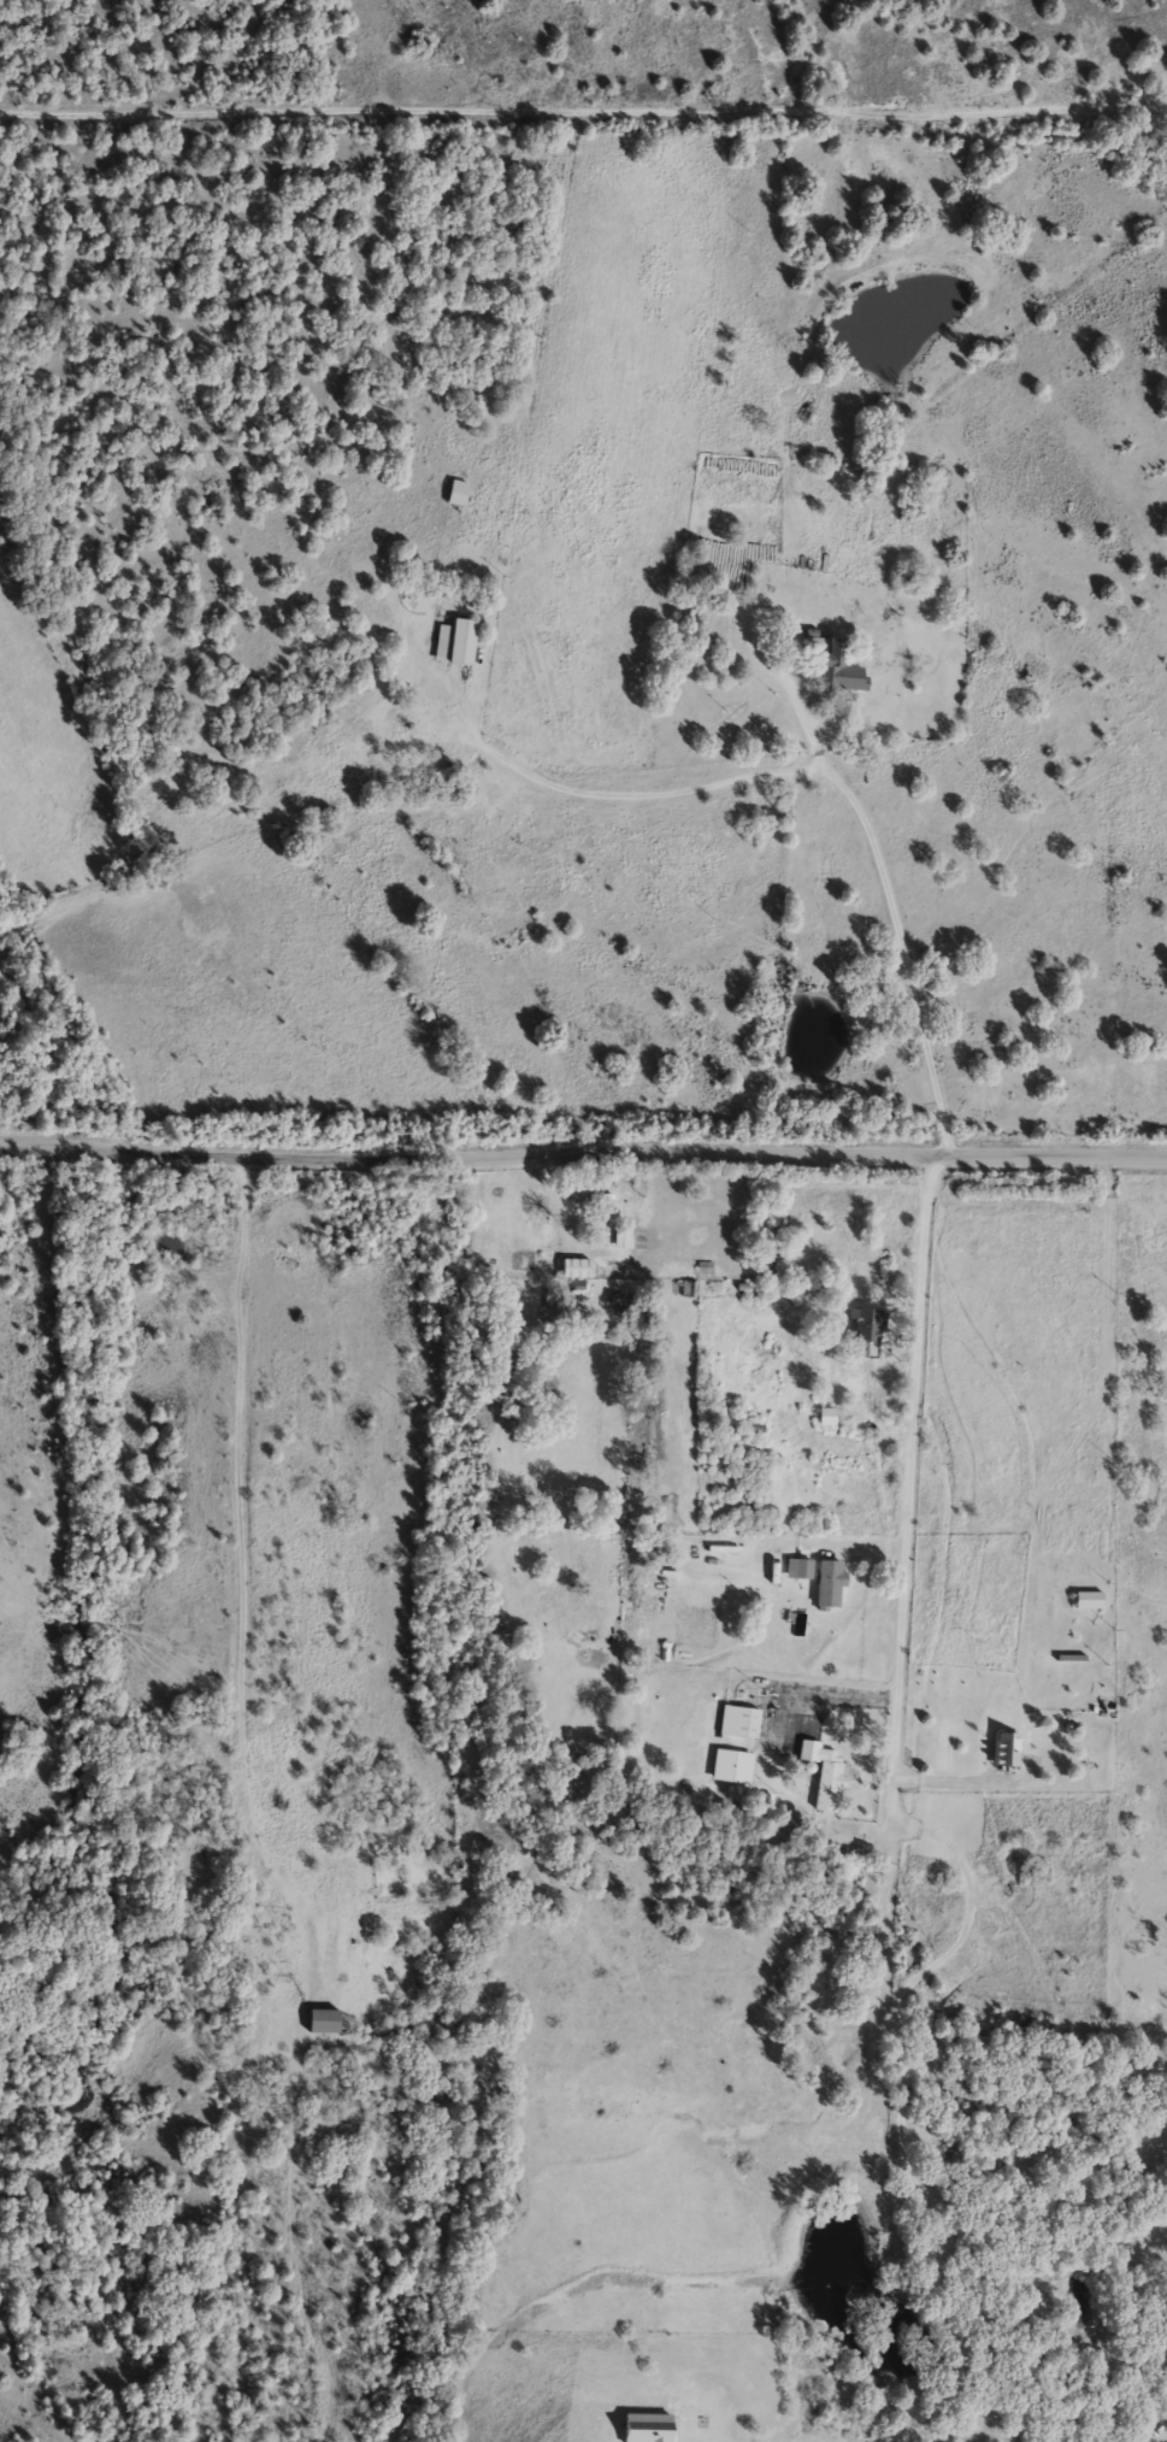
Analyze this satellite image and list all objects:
road: (583, 112)
building: (458, 493)
building: (455, 642)
building: (835, 666)
road: (583, 1157)
building: (603, 1195)
road: (923, 1213)
building: (623, 1240)
building: (773, 1253)
building: (574, 1267)
building: (866, 1324)
building: (826, 1417)
road: (240, 1484)
building: (1088, 1599)
building: (1047, 1606)
building: (737, 1722)
building: (1006, 1749)
building: (731, 1766)
building: (824, 1773)
building: (323, 2020)

